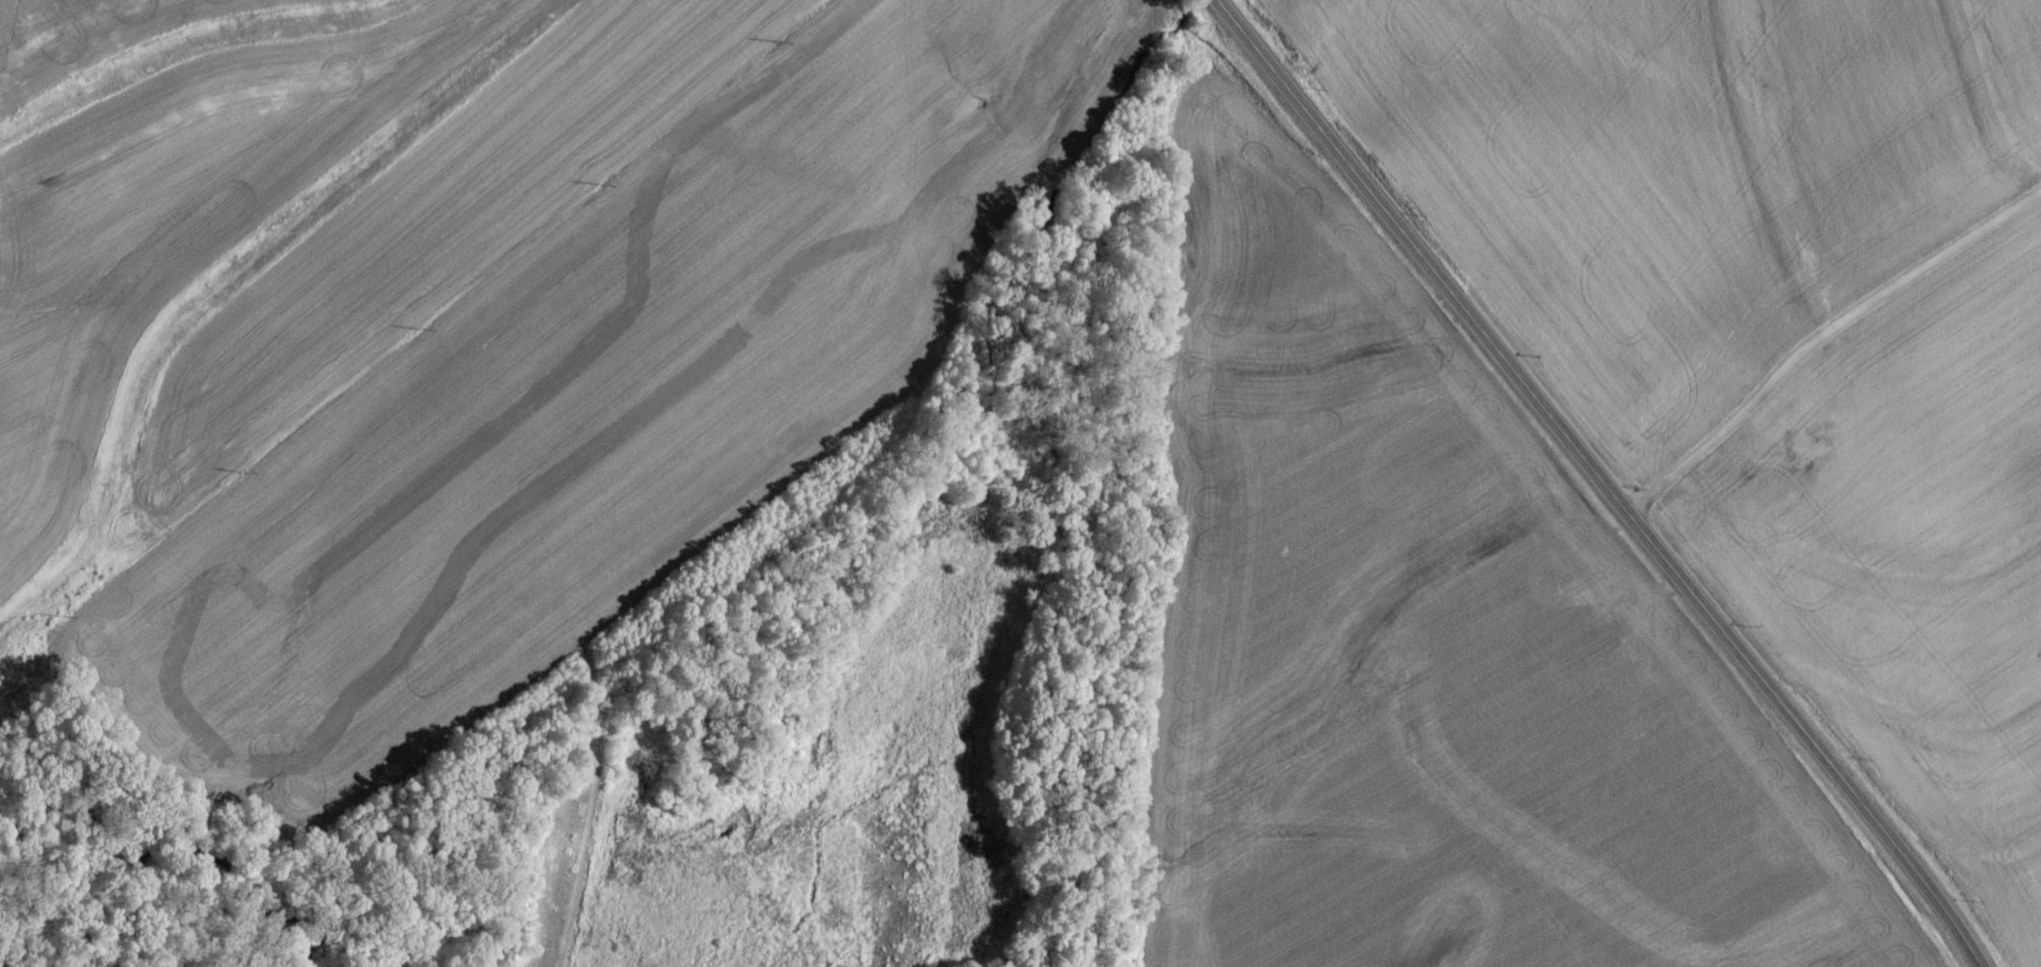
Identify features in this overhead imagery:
road: (1599, 481)

